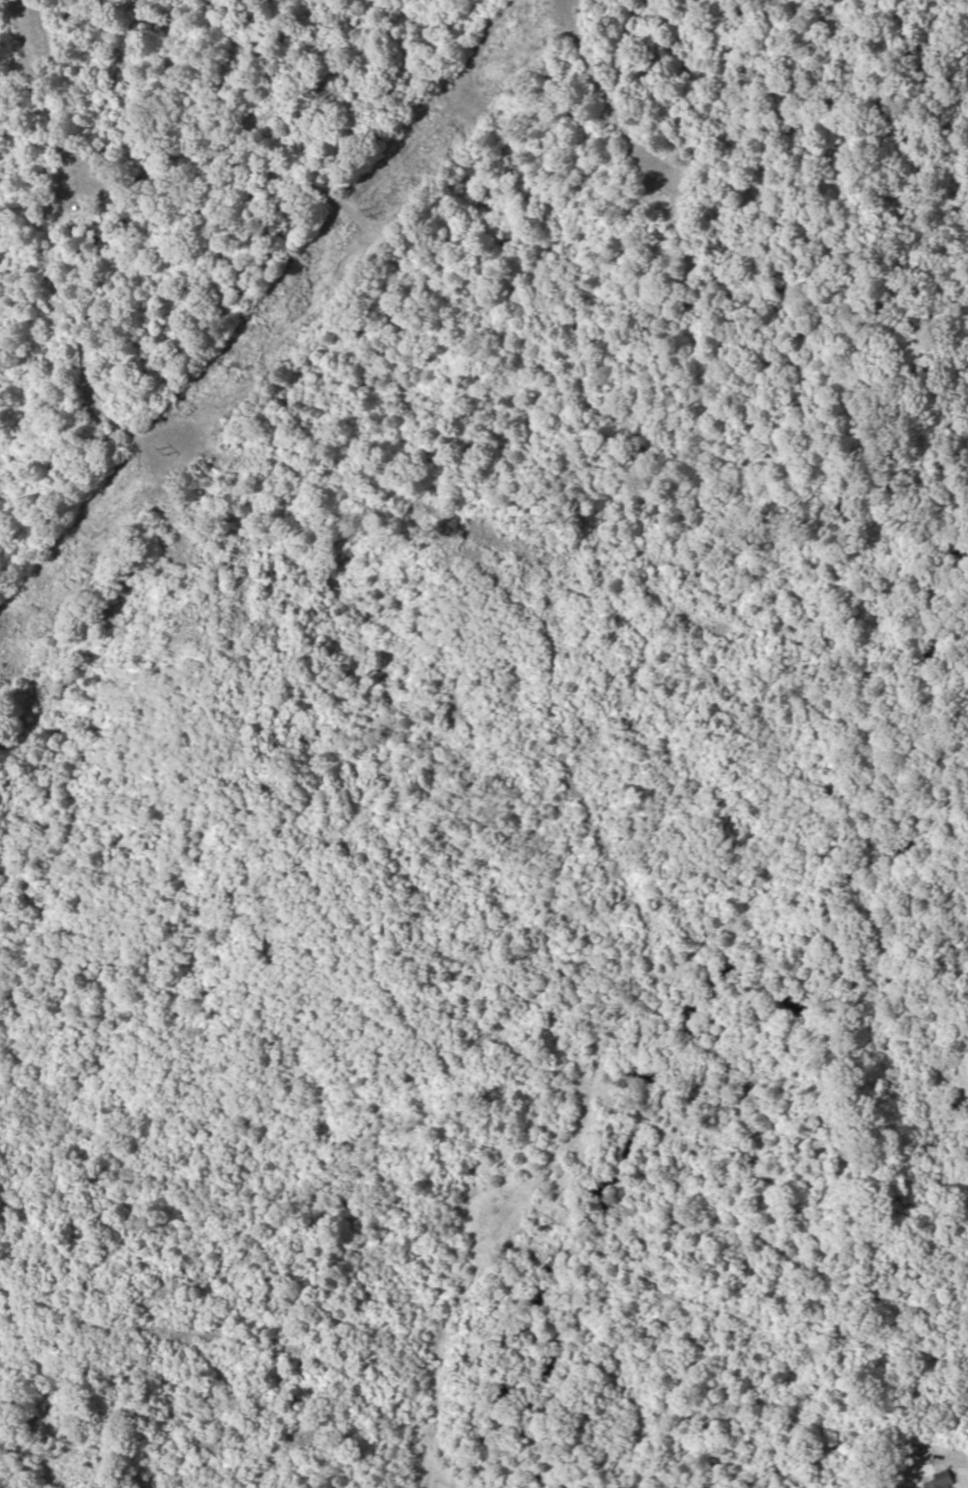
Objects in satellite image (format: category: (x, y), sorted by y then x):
building: (940, 1481)

